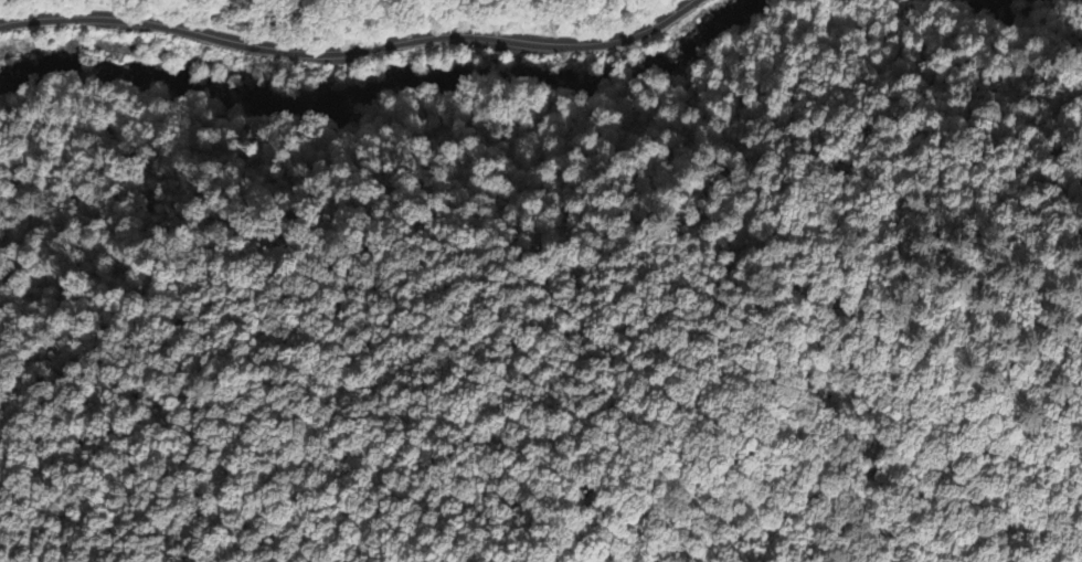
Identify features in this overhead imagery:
road: (351, 49)
river: (580, 96)
river: (33, 114)

